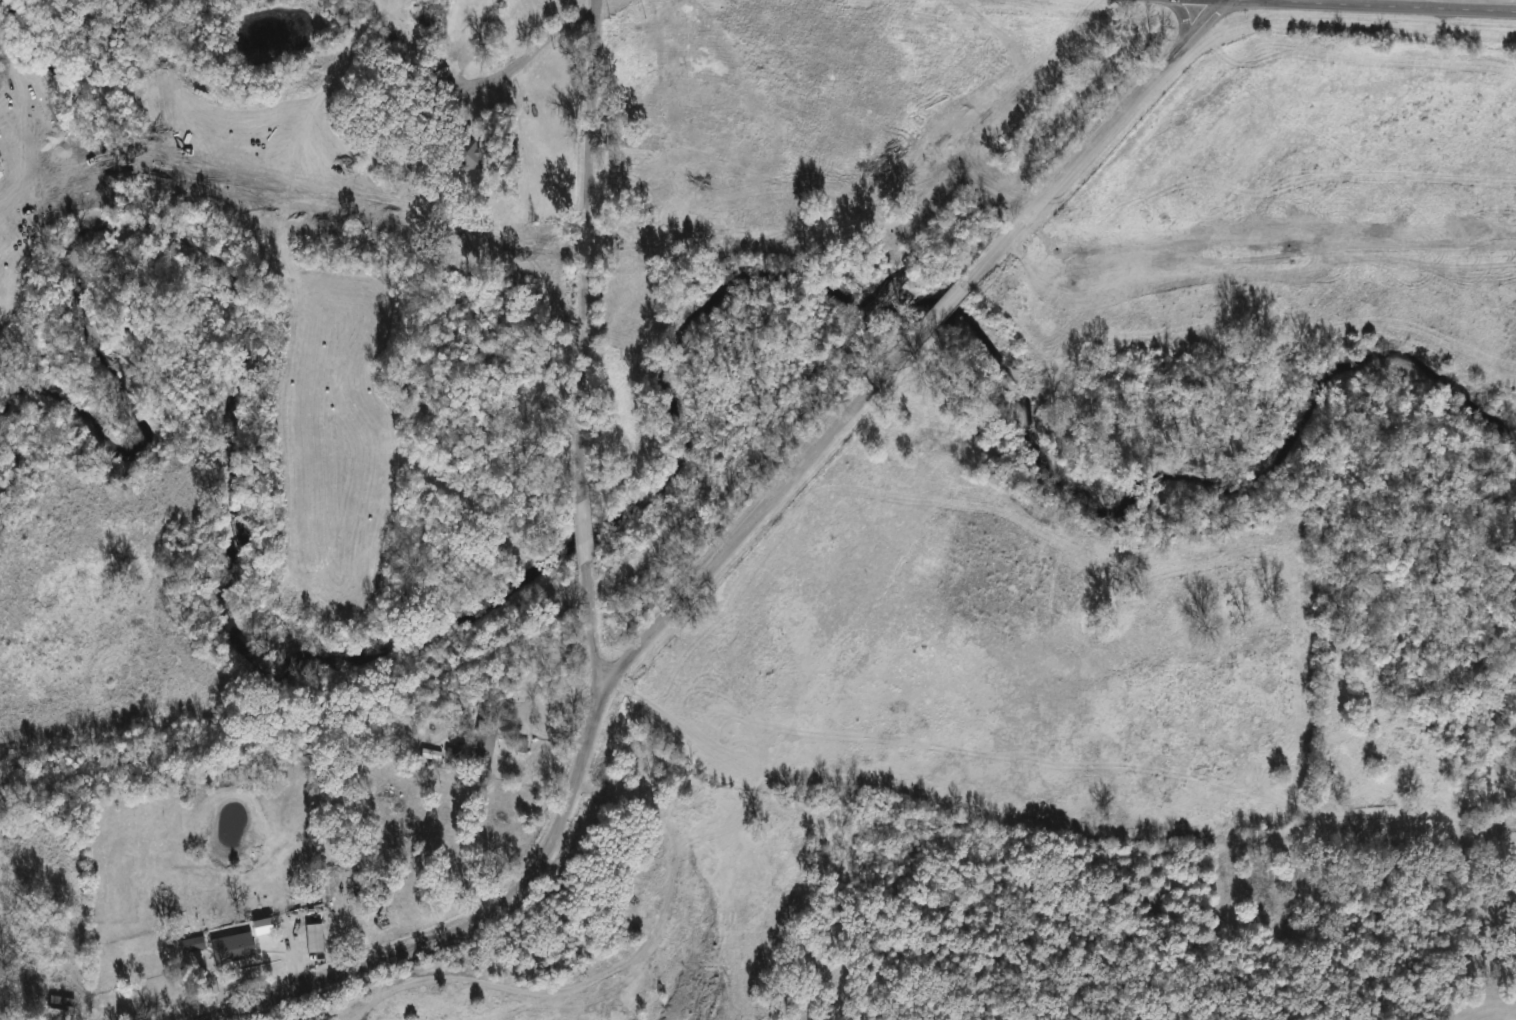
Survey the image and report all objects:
road: (1220, 0)
road: (1370, 6)
building: (767, 8)
building: (835, 65)
road: (474, 83)
road: (1090, 143)
building: (463, 154)
road: (583, 250)
road: (943, 308)
road: (581, 532)
road: (589, 627)
building: (498, 693)
road: (590, 721)
building: (519, 745)
building: (483, 747)
building: (313, 937)
building: (191, 945)
building: (230, 946)
road: (605, 968)
building: (59, 1008)

